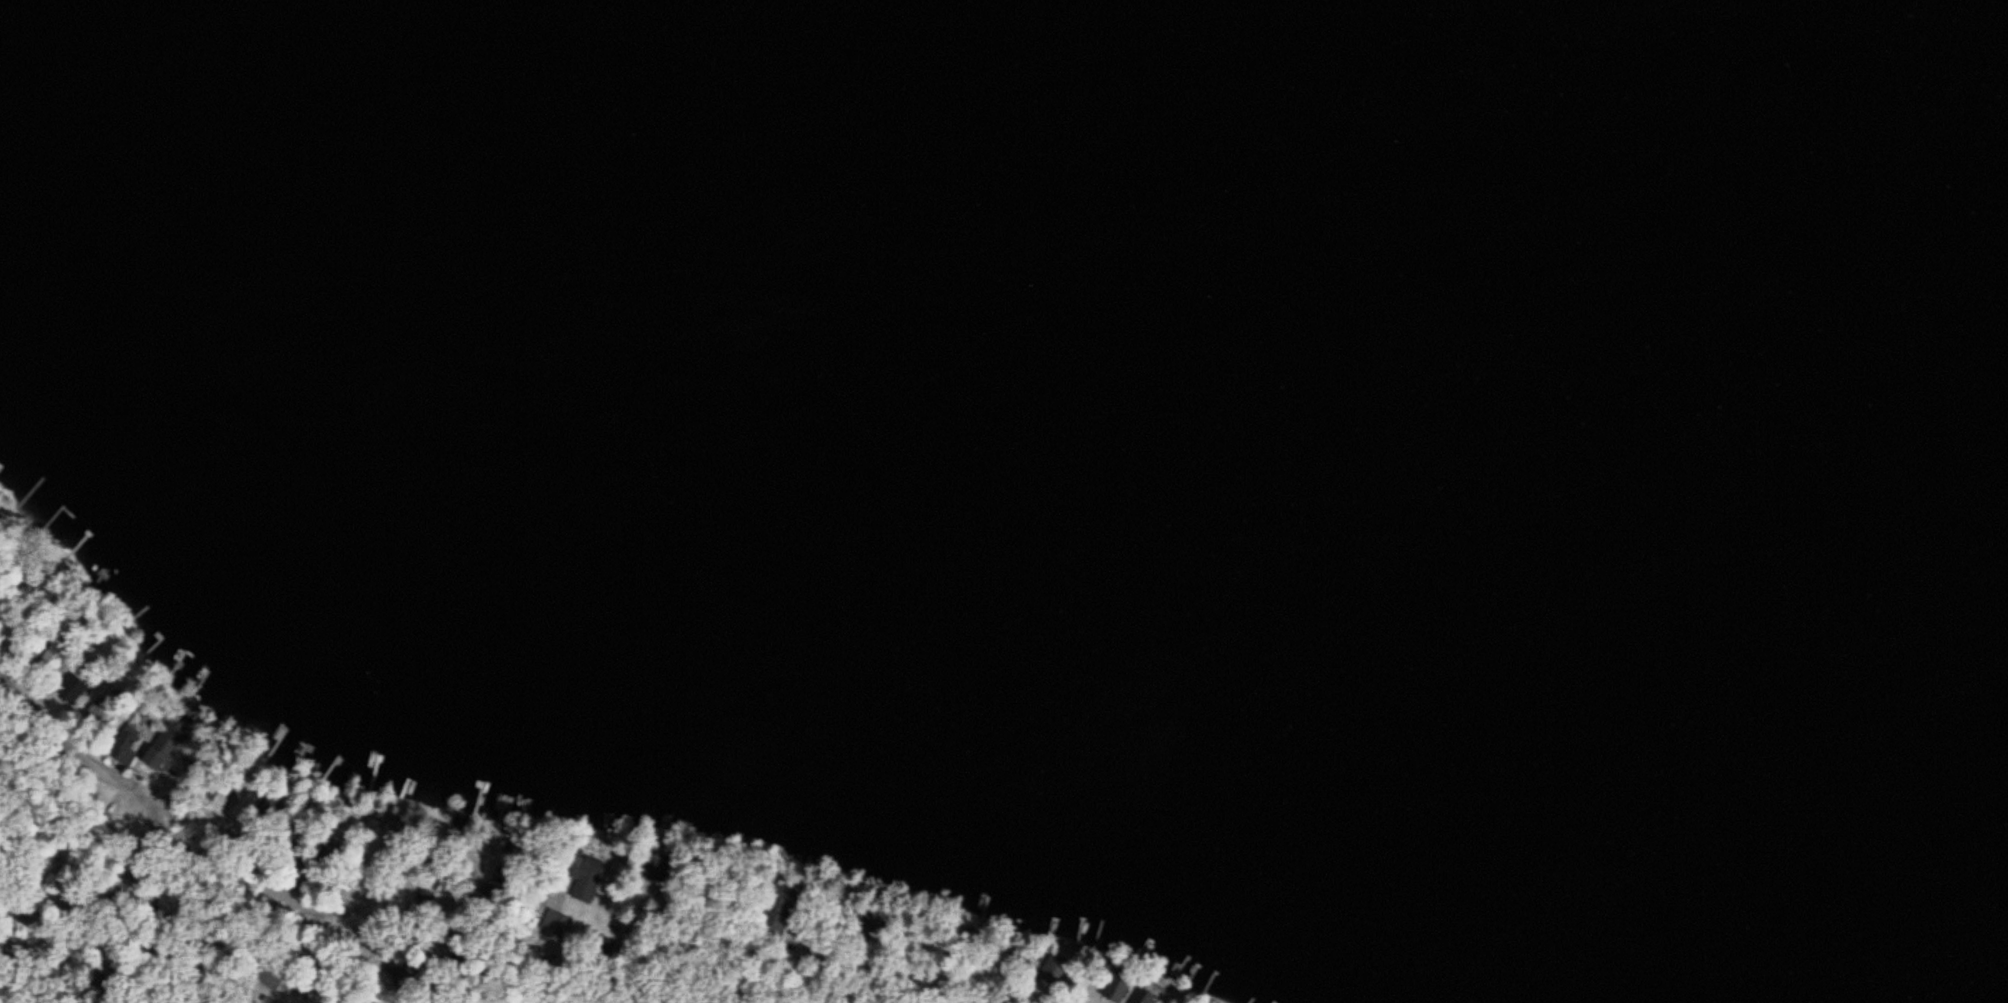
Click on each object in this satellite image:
building: (73, 687)
road: (78, 751)
road: (198, 767)
road: (275, 865)
building: (585, 884)
road: (105, 907)
road: (358, 962)
road: (771, 963)
road: (781, 986)
road: (543, 993)

